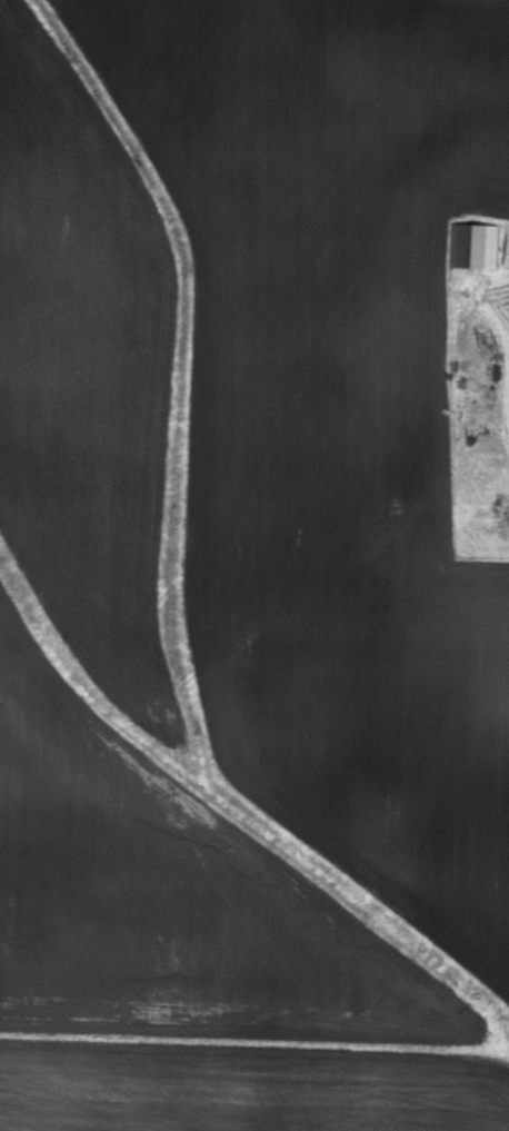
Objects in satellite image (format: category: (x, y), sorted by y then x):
building: (473, 247)

